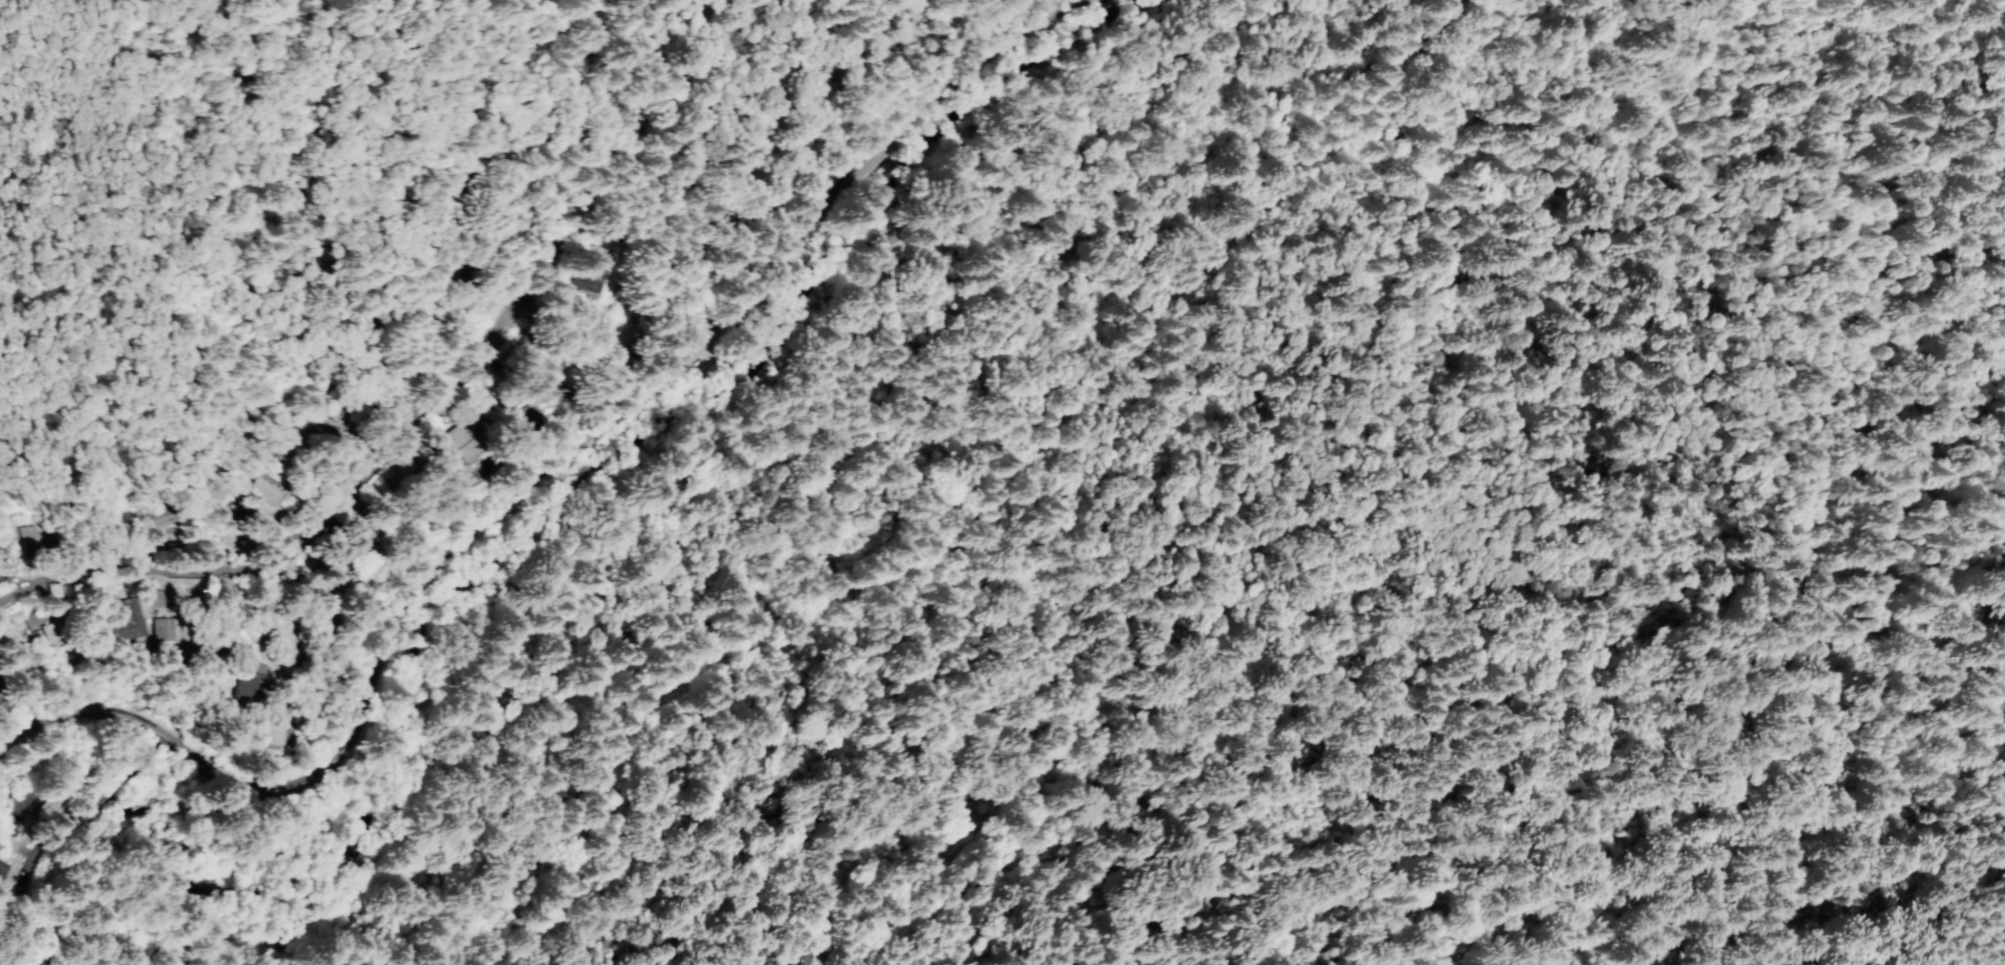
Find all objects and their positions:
building: (597, 272)
building: (313, 434)
building: (465, 442)
road: (1012, 480)
road: (542, 485)
building: (267, 492)
building: (159, 518)
road: (293, 519)
building: (29, 538)
building: (341, 562)
building: (152, 597)
building: (126, 622)
building: (162, 629)
building: (247, 682)
road: (60, 690)
building: (270, 726)
road: (91, 732)
road: (95, 767)
road: (50, 846)

